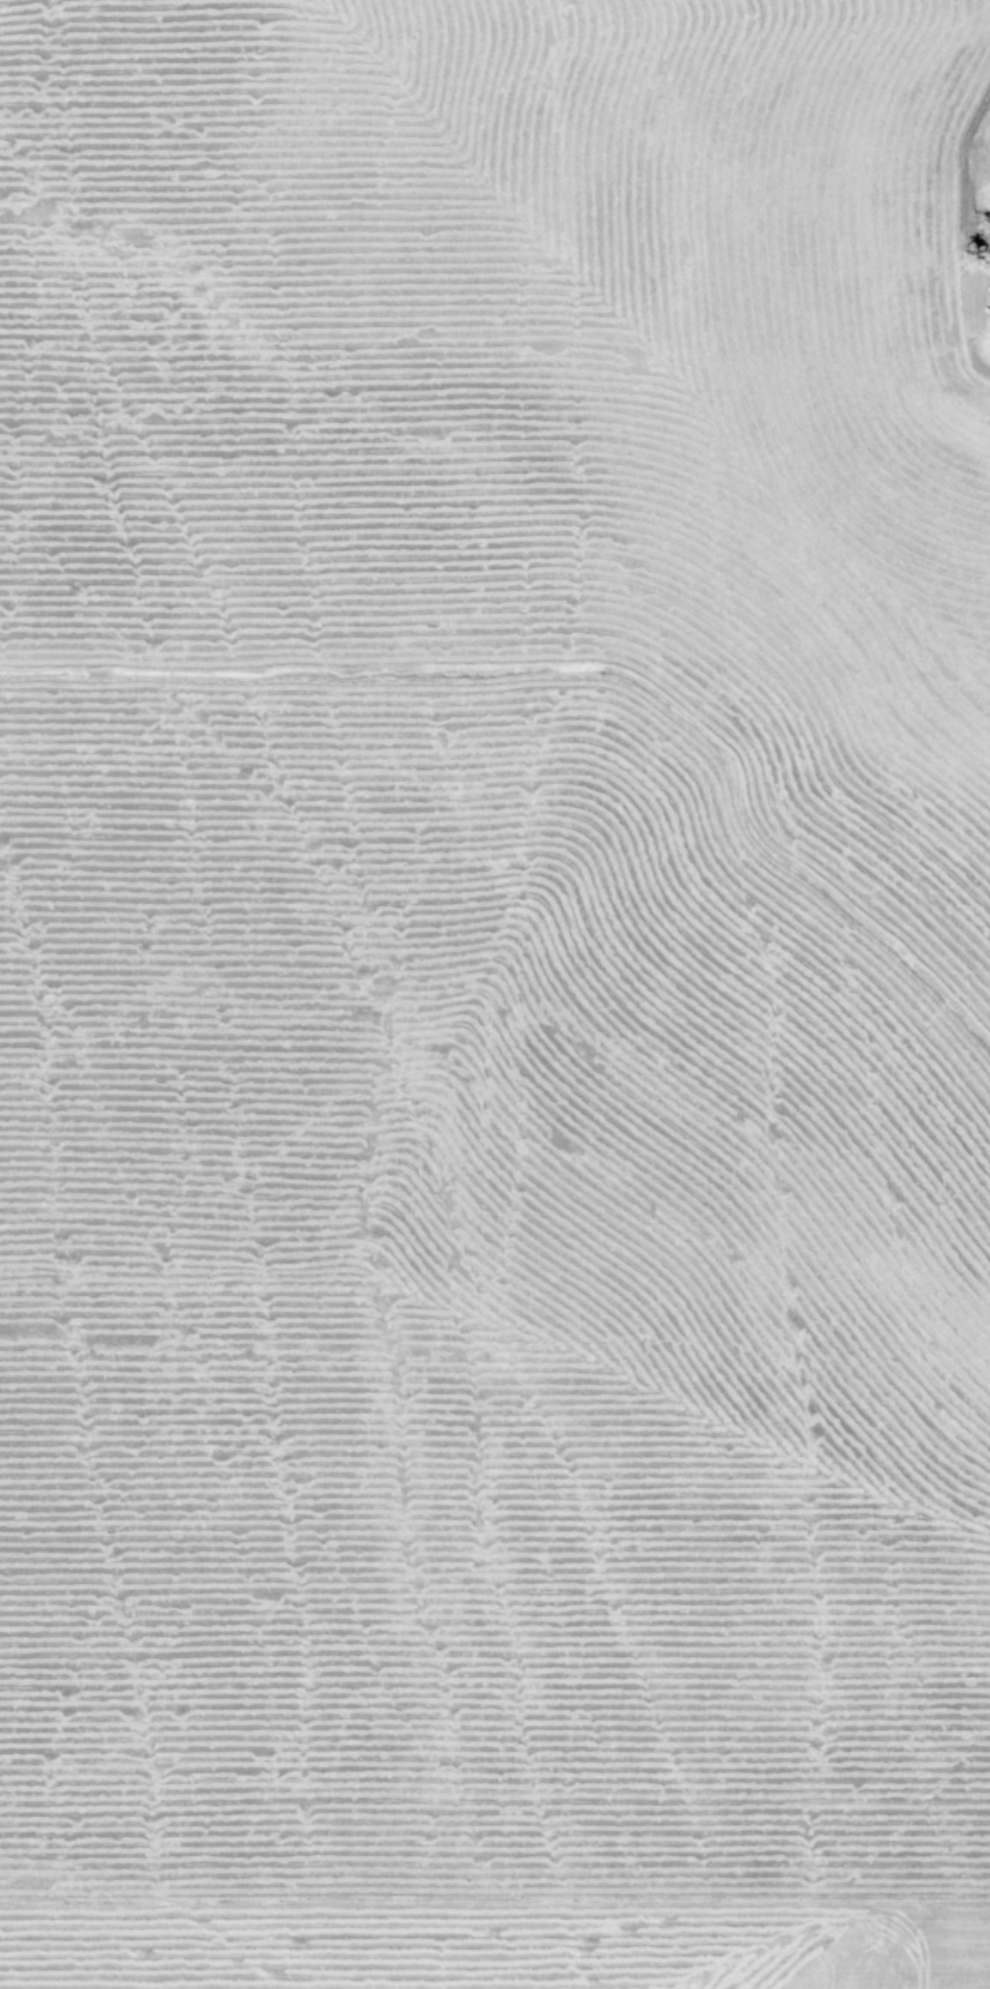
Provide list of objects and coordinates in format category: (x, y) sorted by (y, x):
crop: (495, 994)

